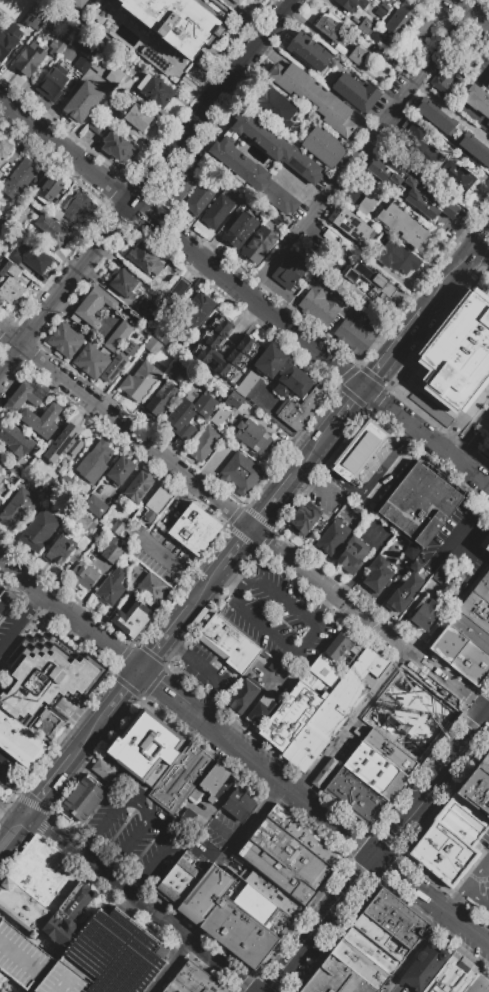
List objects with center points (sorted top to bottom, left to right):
building: (237, 2)
building: (76, 3)
building: (352, 4)
building: (385, 4)
road: (472, 13)
building: (37, 16)
building: (400, 19)
building: (176, 22)
building: (328, 25)
building: (366, 26)
building: (421, 31)
building: (8, 40)
building: (56, 47)
building: (341, 50)
building: (310, 52)
building: (86, 53)
building: (409, 55)
building: (358, 56)
building: (155, 58)
building: (29, 59)
building: (99, 65)
building: (449, 70)
building: (119, 80)
building: (53, 82)
building: (488, 86)
building: (155, 90)
building: (356, 92)
building: (314, 97)
building: (477, 99)
building: (82, 101)
building: (107, 107)
building: (273, 107)
building: (435, 116)
building: (138, 117)
building: (96, 124)
building: (487, 125)
road: (481, 134)
building: (274, 145)
building: (118, 146)
building: (323, 147)
building: (474, 147)
road: (360, 156)
building: (6, 157)
building: (430, 158)
building: (251, 174)
building: (18, 178)
building: (180, 184)
building: (412, 185)
road: (146, 186)
building: (49, 189)
building: (200, 197)
building: (372, 201)
building: (76, 206)
building: (218, 210)
building: (10, 212)
building: (276, 218)
building: (2, 222)
building: (351, 225)
building: (404, 226)
building: (240, 229)
building: (50, 230)
building: (329, 235)
road: (483, 239)
building: (258, 244)
road: (181, 246)
road: (483, 251)
building: (396, 256)
building: (32, 259)
building: (144, 259)
building: (8, 267)
building: (290, 269)
building: (0, 279)
road: (452, 279)
building: (124, 283)
building: (382, 286)
building: (12, 293)
building: (310, 295)
building: (168, 302)
building: (321, 305)
building: (93, 306)
building: (144, 308)
building: (196, 309)
building: (334, 311)
building: (348, 327)
building: (119, 335)
building: (164, 335)
road: (2, 336)
building: (65, 340)
building: (362, 340)
building: (153, 346)
building: (244, 347)
park: (6, 349)
road: (395, 351)
road: (6, 352)
building: (458, 354)
building: (91, 361)
building: (119, 361)
building: (181, 369)
building: (282, 372)
building: (134, 378)
building: (145, 384)
building: (246, 384)
building: (322, 390)
traffic signals: (363, 391)
building: (25, 396)
building: (161, 399)
building: (315, 399)
building: (234, 400)
building: (309, 406)
building: (190, 412)
road: (346, 412)
building: (294, 415)
building: (219, 417)
road: (464, 419)
building: (41, 420)
building: (7, 431)
building: (250, 435)
road: (426, 440)
building: (63, 443)
building: (203, 443)
building: (20, 444)
building: (357, 450)
road: (312, 456)
building: (95, 461)
building: (0, 462)
building: (120, 470)
building: (16, 473)
building: (240, 473)
building: (2, 482)
building: (138, 486)
building: (48, 489)
building: (408, 495)
building: (1, 503)
building: (156, 504)
road: (274, 504)
building: (12, 505)
building: (95, 506)
building: (20, 513)
building: (431, 513)
building: (303, 518)
road: (243, 523)
building: (116, 526)
building: (38, 529)
building: (194, 529)
building: (332, 536)
building: (81, 542)
building: (61, 547)
building: (487, 547)
road: (236, 551)
building: (410, 551)
building: (110, 552)
building: (390, 552)
building: (353, 553)
road: (173, 566)
building: (127, 567)
building: (488, 568)
building: (77, 571)
building: (377, 573)
building: (439, 574)
building: (485, 577)
building: (88, 578)
road: (229, 579)
building: (405, 588)
road: (467, 589)
road: (207, 590)
building: (481, 591)
building: (108, 592)
building: (158, 593)
road: (34, 604)
building: (2, 610)
building: (140, 610)
road: (324, 610)
building: (475, 611)
building: (425, 613)
road: (72, 614)
building: (130, 620)
parking lot: (278, 620)
parking lot: (10, 623)
building: (123, 628)
building: (470, 632)
road: (13, 634)
building: (222, 635)
road: (167, 638)
road: (306, 644)
road: (178, 649)
building: (461, 655)
building: (245, 658)
building: (362, 662)
building: (378, 666)
traffic signals: (144, 671)
parking lot: (209, 672)
building: (47, 675)
road: (212, 675)
road: (6, 681)
road: (166, 687)
building: (309, 692)
road: (124, 694)
building: (243, 695)
road: (207, 703)
building: (261, 709)
building: (318, 715)
road: (487, 716)
traffic signals: (486, 718)
road: (210, 722)
building: (47, 723)
building: (324, 723)
road: (352, 723)
building: (332, 728)
road: (92, 736)
building: (151, 738)
building: (20, 740)
building: (389, 751)
building: (487, 752)
building: (130, 758)
building: (483, 763)
building: (380, 764)
road: (265, 766)
building: (103, 769)
building: (323, 772)
building: (180, 775)
building: (370, 777)
building: (214, 779)
road: (22, 780)
building: (480, 781)
road: (55, 782)
building: (363, 786)
road: (431, 786)
road: (227, 791)
building: (359, 791)
building: (89, 792)
building: (355, 796)
building: (475, 798)
building: (237, 803)
building: (348, 804)
road: (119, 808)
building: (74, 809)
traffic signals: (33, 812)
road: (256, 821)
road: (16, 832)
parking lot: (134, 835)
building: (305, 836)
road: (135, 839)
building: (450, 841)
building: (32, 844)
road: (170, 845)
road: (89, 847)
building: (39, 849)
road: (85, 853)
road: (373, 853)
traffic signals: (377, 856)
building: (51, 858)
building: (285, 861)
road: (113, 866)
road: (487, 866)
building: (69, 872)
building: (40, 876)
building: (178, 879)
parking lot: (479, 883)
road: (140, 886)
road: (468, 886)
building: (204, 894)
building: (274, 894)
road: (477, 899)
building: (391, 904)
building: (23, 907)
building: (259, 908)
building: (68, 914)
road: (122, 914)
building: (381, 917)
building: (220, 918)
road: (167, 919)
road: (323, 924)
road: (469, 928)
building: (409, 929)
building: (380, 936)
building: (249, 940)
building: (370, 950)
road: (419, 952)
building: (86, 957)
parking garage: (86, 957)
building: (358, 963)
road: (177, 967)
road: (227, 968)
building: (423, 968)
building: (453, 975)
building: (3, 978)
building: (335, 978)
building: (198, 979)
building: (478, 982)
building: (175, 987)
building: (486, 988)

